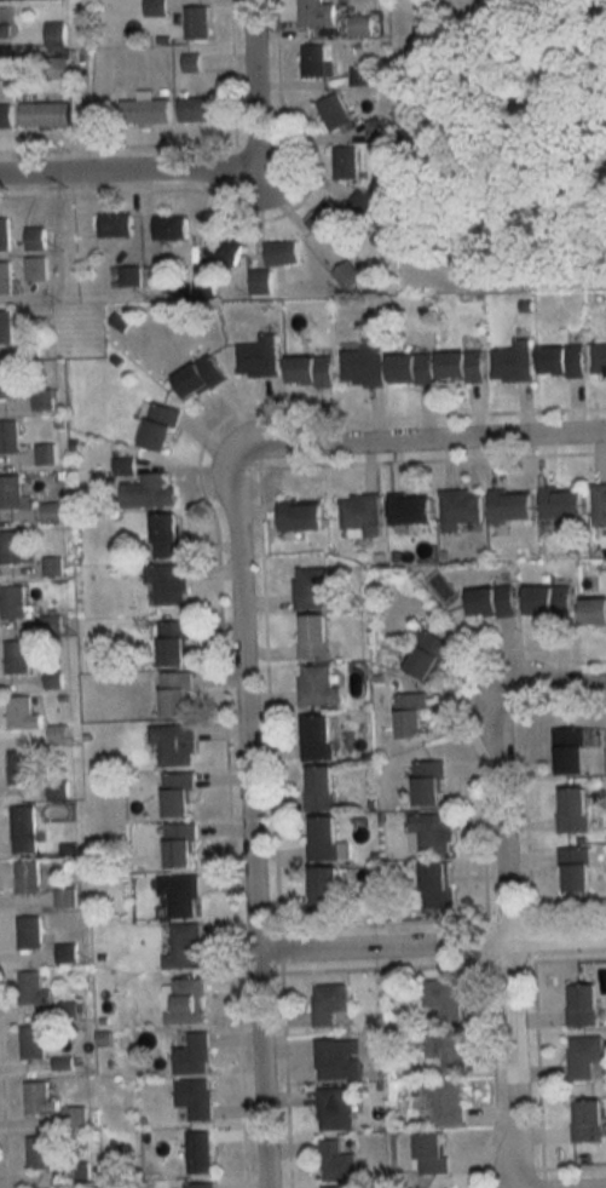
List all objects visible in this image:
building: (316, 13)
building: (197, 24)
building: (365, 24)
building: (5, 30)
building: (56, 34)
building: (313, 59)
building: (192, 61)
building: (54, 68)
building: (5, 69)
building: (360, 76)
road: (252, 81)
building: (195, 109)
building: (145, 110)
building: (335, 113)
building: (45, 114)
building: (6, 116)
building: (376, 128)
building: (345, 162)
road: (125, 174)
building: (360, 202)
building: (324, 217)
building: (114, 225)
building: (169, 228)
building: (4, 235)
building: (35, 239)
building: (224, 248)
building: (282, 252)
building: (35, 269)
building: (347, 275)
building: (5, 279)
building: (260, 282)
building: (5, 327)
building: (258, 356)
building: (599, 358)
building: (562, 361)
building: (512, 362)
building: (363, 365)
building: (461, 367)
building: (411, 368)
building: (310, 372)
building: (198, 377)
building: (6, 381)
building: (44, 398)
building: (158, 426)
building: (8, 436)
road: (421, 438)
building: (148, 492)
building: (12, 493)
building: (561, 503)
building: (599, 504)
building: (510, 506)
building: (460, 507)
building: (410, 509)
building: (362, 515)
building: (301, 516)
building: (167, 535)
building: (11, 547)
building: (52, 567)
building: (167, 584)
building: (312, 589)
building: (548, 601)
building: (13, 602)
building: (491, 602)
building: (594, 613)
building: (314, 636)
building: (173, 643)
building: (17, 656)
building: (428, 656)
building: (317, 685)
building: (175, 694)
building: (22, 713)
building: (410, 716)
building: (317, 738)
building: (174, 744)
building: (570, 752)
building: (21, 768)
building: (428, 784)
building: (321, 788)
building: (177, 796)
building: (572, 810)
road: (246, 821)
building: (23, 830)
building: (432, 832)
building: (322, 838)
building: (179, 845)
building: (573, 871)
building: (27, 877)
building: (435, 885)
building: (324, 889)
road: (502, 893)
building: (179, 895)
building: (64, 899)
building: (29, 932)
building: (184, 947)
road: (428, 947)
building: (65, 953)
building: (33, 989)
building: (440, 1000)
building: (183, 1002)
building: (329, 1005)
building: (582, 1006)
building: (31, 1044)
building: (443, 1051)
building: (191, 1054)
building: (582, 1056)
building: (337, 1060)
building: (194, 1098)
building: (39, 1100)
building: (445, 1101)
building: (335, 1109)
building: (588, 1123)
building: (39, 1152)
building: (431, 1152)
building: (198, 1153)
building: (336, 1163)
building: (198, 1186)
building: (337, 1187)
building: (450, 1187)

